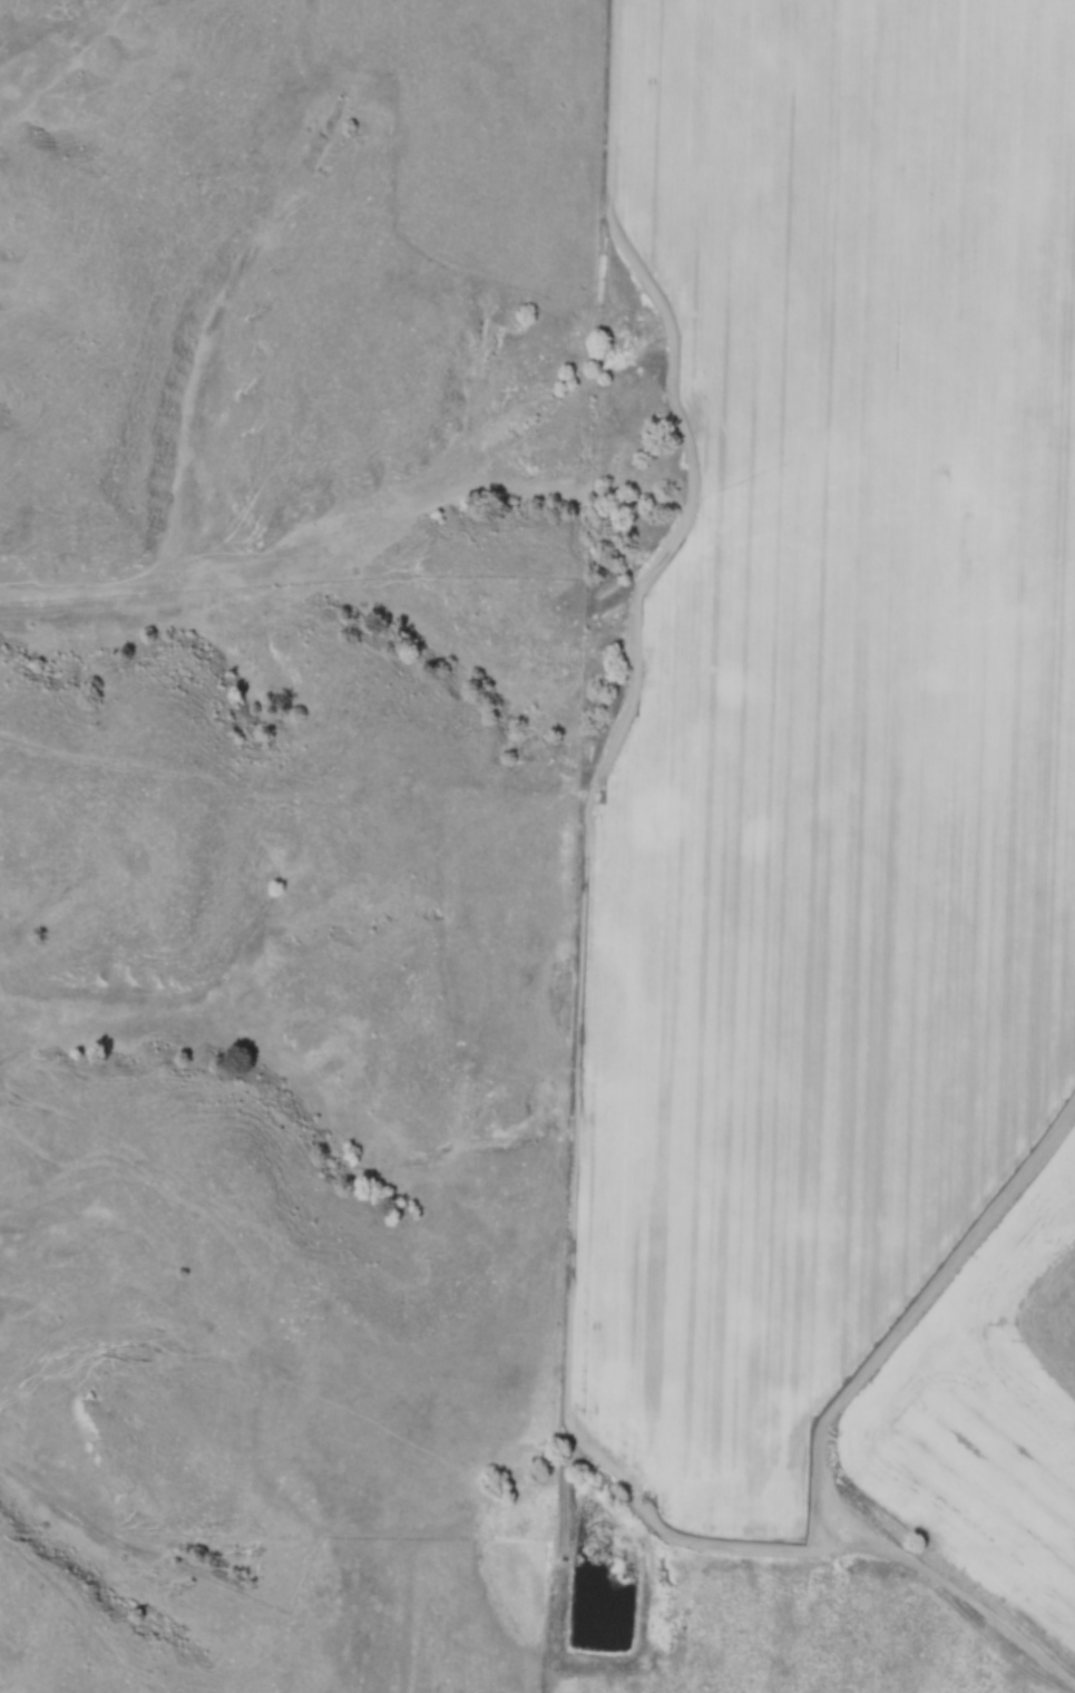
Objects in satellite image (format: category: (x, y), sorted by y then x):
crop: (835, 712)
airport: (983, 1422)

